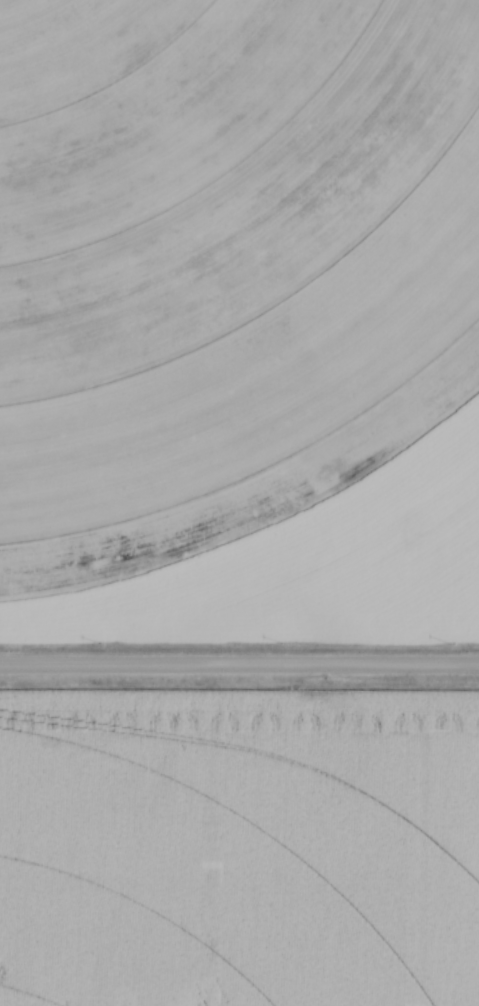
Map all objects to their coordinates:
road: (239, 670)

